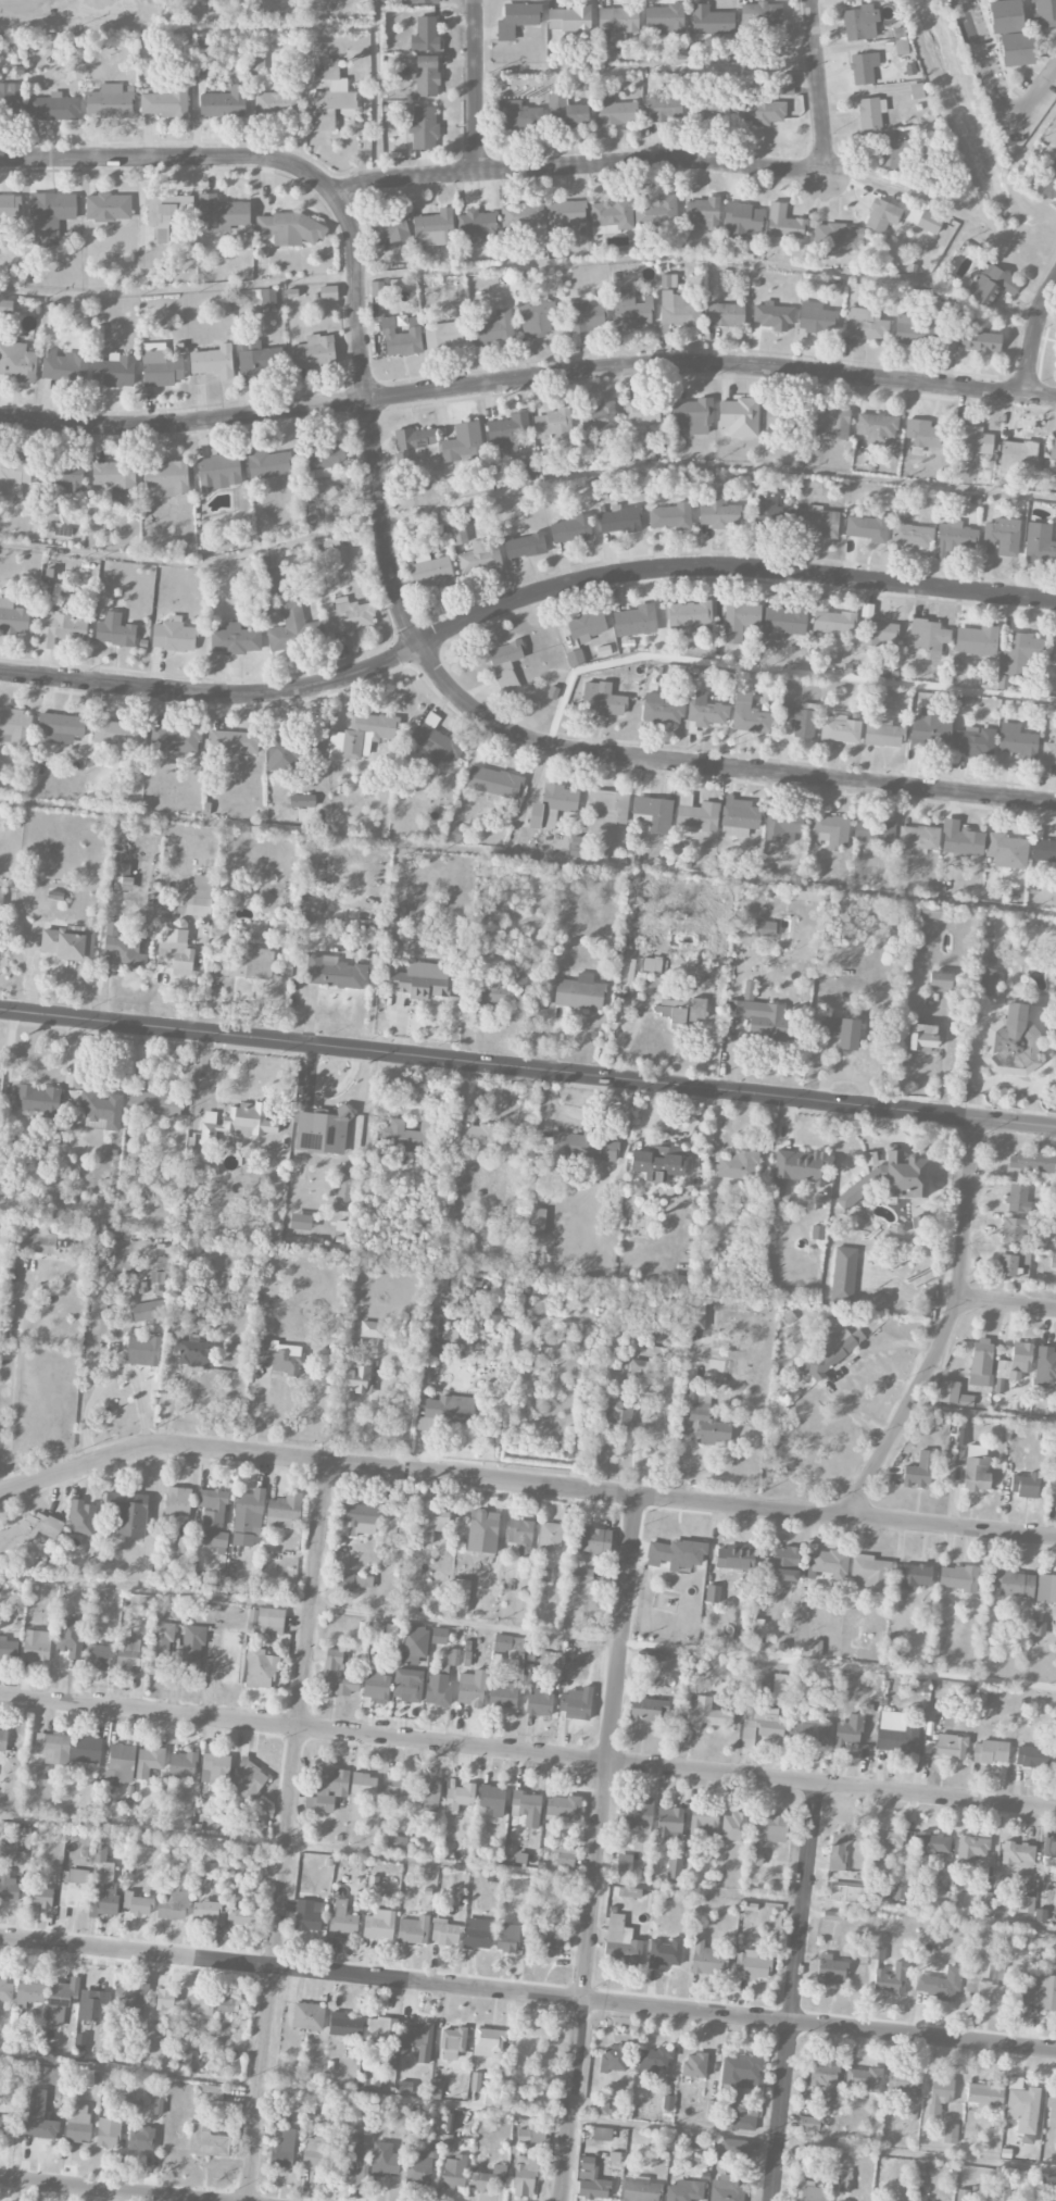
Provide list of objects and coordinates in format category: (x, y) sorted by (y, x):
building: (882, 0)
road: (20, 1)
building: (425, 1)
building: (760, 13)
building: (1043, 13)
building: (1005, 16)
building: (516, 18)
building: (618, 18)
building: (664, 18)
building: (569, 20)
building: (711, 21)
building: (858, 23)
road: (201, 29)
building: (425, 34)
building: (1016, 49)
building: (201, 57)
building: (863, 67)
road: (646, 68)
building: (426, 76)
building: (783, 82)
road: (477, 86)
road: (818, 88)
building: (917, 90)
road: (990, 92)
building: (10, 96)
building: (329, 101)
building: (109, 102)
building: (165, 102)
building: (224, 102)
building: (277, 103)
building: (555, 107)
building: (663, 107)
building: (53, 108)
building: (713, 110)
building: (615, 111)
building: (870, 112)
building: (764, 113)
building: (576, 114)
building: (517, 117)
building: (424, 127)
building: (601, 132)
building: (890, 153)
road: (581, 165)
building: (108, 207)
building: (9, 208)
building: (703, 212)
building: (166, 213)
building: (222, 213)
building: (613, 213)
building: (565, 214)
building: (656, 214)
building: (50, 215)
building: (521, 215)
building: (881, 215)
building: (742, 222)
building: (929, 222)
building: (783, 223)
building: (477, 224)
building: (392, 228)
building: (432, 228)
building: (292, 229)
building: (834, 239)
road: (581, 262)
building: (668, 280)
building: (990, 286)
building: (378, 289)
building: (328, 292)
building: (267, 298)
building: (679, 308)
building: (631, 309)
building: (725, 314)
building: (772, 315)
building: (584, 316)
building: (535, 317)
building: (816, 317)
building: (865, 324)
building: (494, 328)
building: (918, 330)
road: (1033, 334)
building: (443, 335)
building: (401, 338)
building: (981, 340)
building: (314, 352)
building: (257, 358)
building: (16, 361)
building: (213, 362)
building: (64, 366)
building: (161, 368)
building: (113, 371)
road: (527, 378)
building: (643, 410)
building: (692, 415)
building: (599, 417)
building: (739, 417)
building: (783, 418)
building: (830, 422)
building: (554, 425)
building: (877, 428)
building: (506, 432)
building: (922, 434)
building: (414, 438)
building: (973, 440)
building: (462, 442)
building: (1053, 449)
building: (1018, 457)
building: (324, 459)
building: (268, 464)
building: (218, 472)
building: (13, 475)
building: (113, 475)
building: (66, 476)
building: (166, 477)
road: (525, 487)
building: (770, 511)
building: (719, 512)
building: (469, 513)
building: (1055, 515)
building: (670, 516)
building: (310, 517)
building: (620, 520)
building: (818, 522)
building: (867, 527)
building: (571, 528)
building: (910, 535)
building: (1003, 536)
building: (954, 538)
building: (1040, 542)
building: (525, 546)
building: (479, 558)
building: (430, 571)
building: (272, 580)
road: (393, 585)
road: (520, 599)
building: (687, 615)
building: (350, 616)
building: (12, 617)
building: (739, 620)
building: (636, 621)
building: (783, 621)
building: (831, 621)
building: (63, 626)
building: (587, 626)
building: (288, 627)
building: (114, 630)
building: (879, 631)
building: (173, 635)
building: (928, 636)
building: (235, 639)
building: (977, 640)
building: (1053, 650)
building: (1017, 656)
building: (575, 658)
building: (505, 664)
road: (716, 665)
building: (602, 699)
building: (661, 709)
building: (706, 711)
building: (749, 715)
building: (799, 718)
building: (15, 727)
building: (60, 728)
building: (839, 729)
building: (883, 734)
building: (120, 735)
building: (362, 736)
building: (929, 736)
building: (175, 739)
building: (973, 741)
building: (234, 742)
building: (435, 743)
building: (1016, 743)
building: (281, 750)
building: (1047, 756)
building: (493, 781)
building: (302, 800)
building: (556, 803)
building: (608, 805)
building: (653, 813)
building: (699, 817)
building: (739, 817)
building: (783, 824)
building: (830, 830)
building: (873, 831)
building: (455, 833)
building: (917, 839)
building: (960, 839)
building: (1043, 850)
building: (1006, 851)
road: (527, 856)
building: (122, 871)
building: (201, 898)
building: (0, 901)
building: (764, 928)
building: (390, 941)
building: (123, 948)
building: (176, 956)
building: (244, 962)
building: (651, 964)
building: (334, 972)
building: (420, 980)
building: (989, 980)
building: (940, 981)
building: (496, 991)
building: (579, 992)
building: (684, 1010)
building: (758, 1014)
building: (840, 1030)
building: (922, 1038)
building: (1011, 1042)
road: (527, 1071)
building: (39, 1100)
building: (155, 1103)
building: (101, 1111)
building: (237, 1123)
building: (322, 1130)
building: (474, 1133)
building: (407, 1134)
building: (578, 1147)
building: (657, 1163)
building: (1030, 1163)
building: (737, 1165)
building: (799, 1168)
building: (905, 1175)
building: (862, 1187)
building: (344, 1188)
building: (1017, 1198)
building: (536, 1221)
building: (300, 1222)
building: (1014, 1229)
building: (817, 1233)
building: (43, 1243)
building: (1013, 1261)
building: (163, 1264)
building: (843, 1275)
road: (1006, 1304)
building: (148, 1311)
building: (697, 1315)
road: (948, 1328)
building: (372, 1329)
building: (143, 1351)
building: (829, 1352)
building: (196, 1354)
building: (1021, 1356)
building: (289, 1359)
building: (980, 1361)
building: (1045, 1367)
building: (640, 1373)
road: (15, 1375)
building: (357, 1379)
building: (947, 1391)
building: (965, 1400)
building: (445, 1411)
building: (621, 1417)
road: (981, 1417)
building: (703, 1418)
building: (976, 1468)
building: (918, 1471)
road: (524, 1483)
building: (1024, 1485)
building: (177, 1501)
building: (213, 1506)
building: (284, 1510)
building: (128, 1512)
building: (248, 1517)
building: (80, 1518)
building: (359, 1520)
building: (432, 1524)
building: (30, 1530)
building: (482, 1530)
building: (520, 1536)
building: (550, 1537)
building: (215, 1538)
building: (593, 1541)
building: (183, 1545)
building: (676, 1553)
building: (734, 1558)
building: (784, 1563)
building: (830, 1563)
building: (869, 1574)
building: (542, 1575)
building: (581, 1575)
building: (914, 1576)
building: (957, 1578)
building: (353, 1581)
building: (1014, 1584)
building: (1046, 1589)
building: (462, 1590)
building: (713, 1593)
building: (267, 1620)
road: (539, 1633)
building: (439, 1636)
building: (71, 1637)
building: (414, 1641)
building: (508, 1643)
building: (36, 1646)
building: (9, 1648)
building: (160, 1649)
building: (192, 1651)
building: (128, 1652)
building: (98, 1656)
building: (260, 1668)
building: (338, 1675)
building: (377, 1685)
building: (407, 1685)
building: (922, 1685)
building: (472, 1688)
building: (438, 1689)
building: (503, 1694)
building: (540, 1703)
building: (577, 1704)
building: (649, 1710)
building: (704, 1713)
building: (759, 1724)
building: (848, 1731)
building: (808, 1733)
building: (897, 1733)
building: (2, 1739)
building: (948, 1746)
road: (608, 1747)
building: (52, 1748)
road: (528, 1751)
building: (990, 1751)
building: (1032, 1756)
building: (149, 1761)
building: (120, 1763)
building: (181, 1764)
building: (215, 1768)
building: (37, 1771)
building: (248, 1780)
building: (363, 1784)
building: (329, 1788)
building: (398, 1788)
building: (428, 1794)
building: (460, 1797)
building: (492, 1799)
building: (564, 1806)
building: (526, 1808)
building: (637, 1812)
building: (704, 1822)
building: (669, 1824)
building: (732, 1827)
building: (769, 1828)
road: (288, 1831)
building: (888, 1838)
building: (397, 1843)
building: (843, 1843)
building: (933, 1843)
building: (972, 1848)
building: (1018, 1855)
building: (565, 1856)
building: (754, 1858)
building: (1048, 1858)
building: (624, 1864)
building: (674, 1868)
road: (527, 1872)
building: (8, 1887)
building: (73, 1888)
building: (103, 1890)
building: (898, 1890)
building: (846, 1892)
building: (40, 1897)
building: (983, 1900)
building: (136, 1903)
building: (1026, 1904)
building: (173, 1905)
building: (208, 1912)
building: (241, 1912)
building: (309, 1915)
building: (833, 1916)
building: (342, 1918)
building: (378, 1925)
building: (413, 1929)
building: (443, 1933)
building: (477, 1934)
building: (506, 1938)
building: (620, 1941)
building: (548, 1946)
building: (665, 1953)
building: (706, 1960)
building: (751, 1965)
road: (291, 1968)
building: (830, 1971)
building: (891, 1979)
building: (990, 1979)
building: (940, 1985)
building: (5, 1990)
road: (792, 1991)
building: (30, 1992)
building: (1043, 1992)
building: (133, 1996)
building: (165, 1999)
building: (61, 2000)
building: (200, 2003)
building: (90, 2005)
building: (227, 2005)
building: (307, 2016)
road: (820, 2024)
building: (344, 2025)
building: (380, 2035)
building: (417, 2041)
building: (452, 2042)
building: (489, 2042)
building: (614, 2059)
building: (653, 2060)
building: (694, 2065)
building: (741, 2072)
building: (822, 2076)
building: (864, 2078)
building: (905, 2081)
building: (208, 2092)
building: (940, 2093)
building: (985, 2096)
road: (573, 2100)
building: (1053, 2102)
building: (602, 2109)
building: (1022, 2109)
road: (527, 2114)
building: (39, 2117)
building: (741, 2117)
building: (77, 2123)
building: (5, 2124)
building: (108, 2133)
building: (950, 2134)
building: (530, 2136)
building: (141, 2138)
building: (208, 2141)
building: (740, 2148)
building: (282, 2149)
building: (315, 2153)
building: (800, 2158)
building: (349, 2159)
building: (384, 2160)
building: (419, 2167)
building: (454, 2172)
building: (525, 2176)
building: (488, 2178)
building: (591, 2180)
building: (842, 2180)
building: (1051, 2184)
road: (102, 2189)
building: (640, 2189)
building: (726, 2189)
building: (684, 2190)
building: (806, 2191)
building: (1002, 2192)
building: (961, 2194)
building: (842, 2200)

